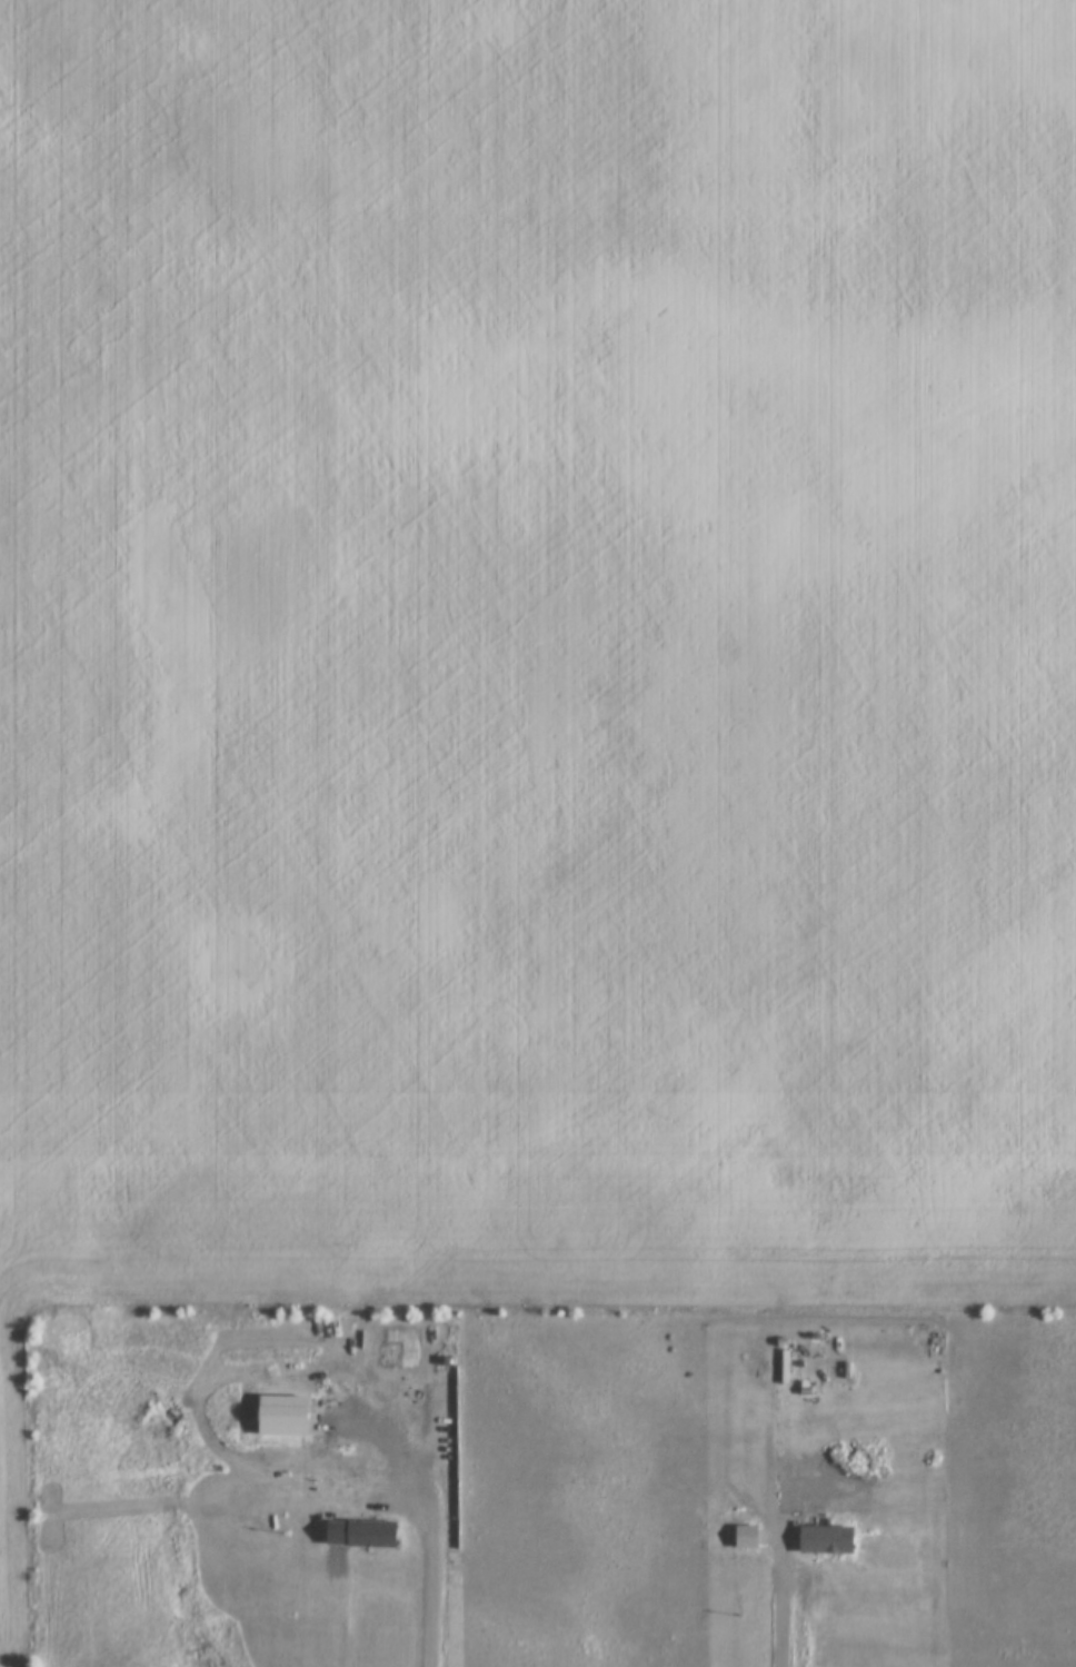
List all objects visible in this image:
building: (358, 1530)

